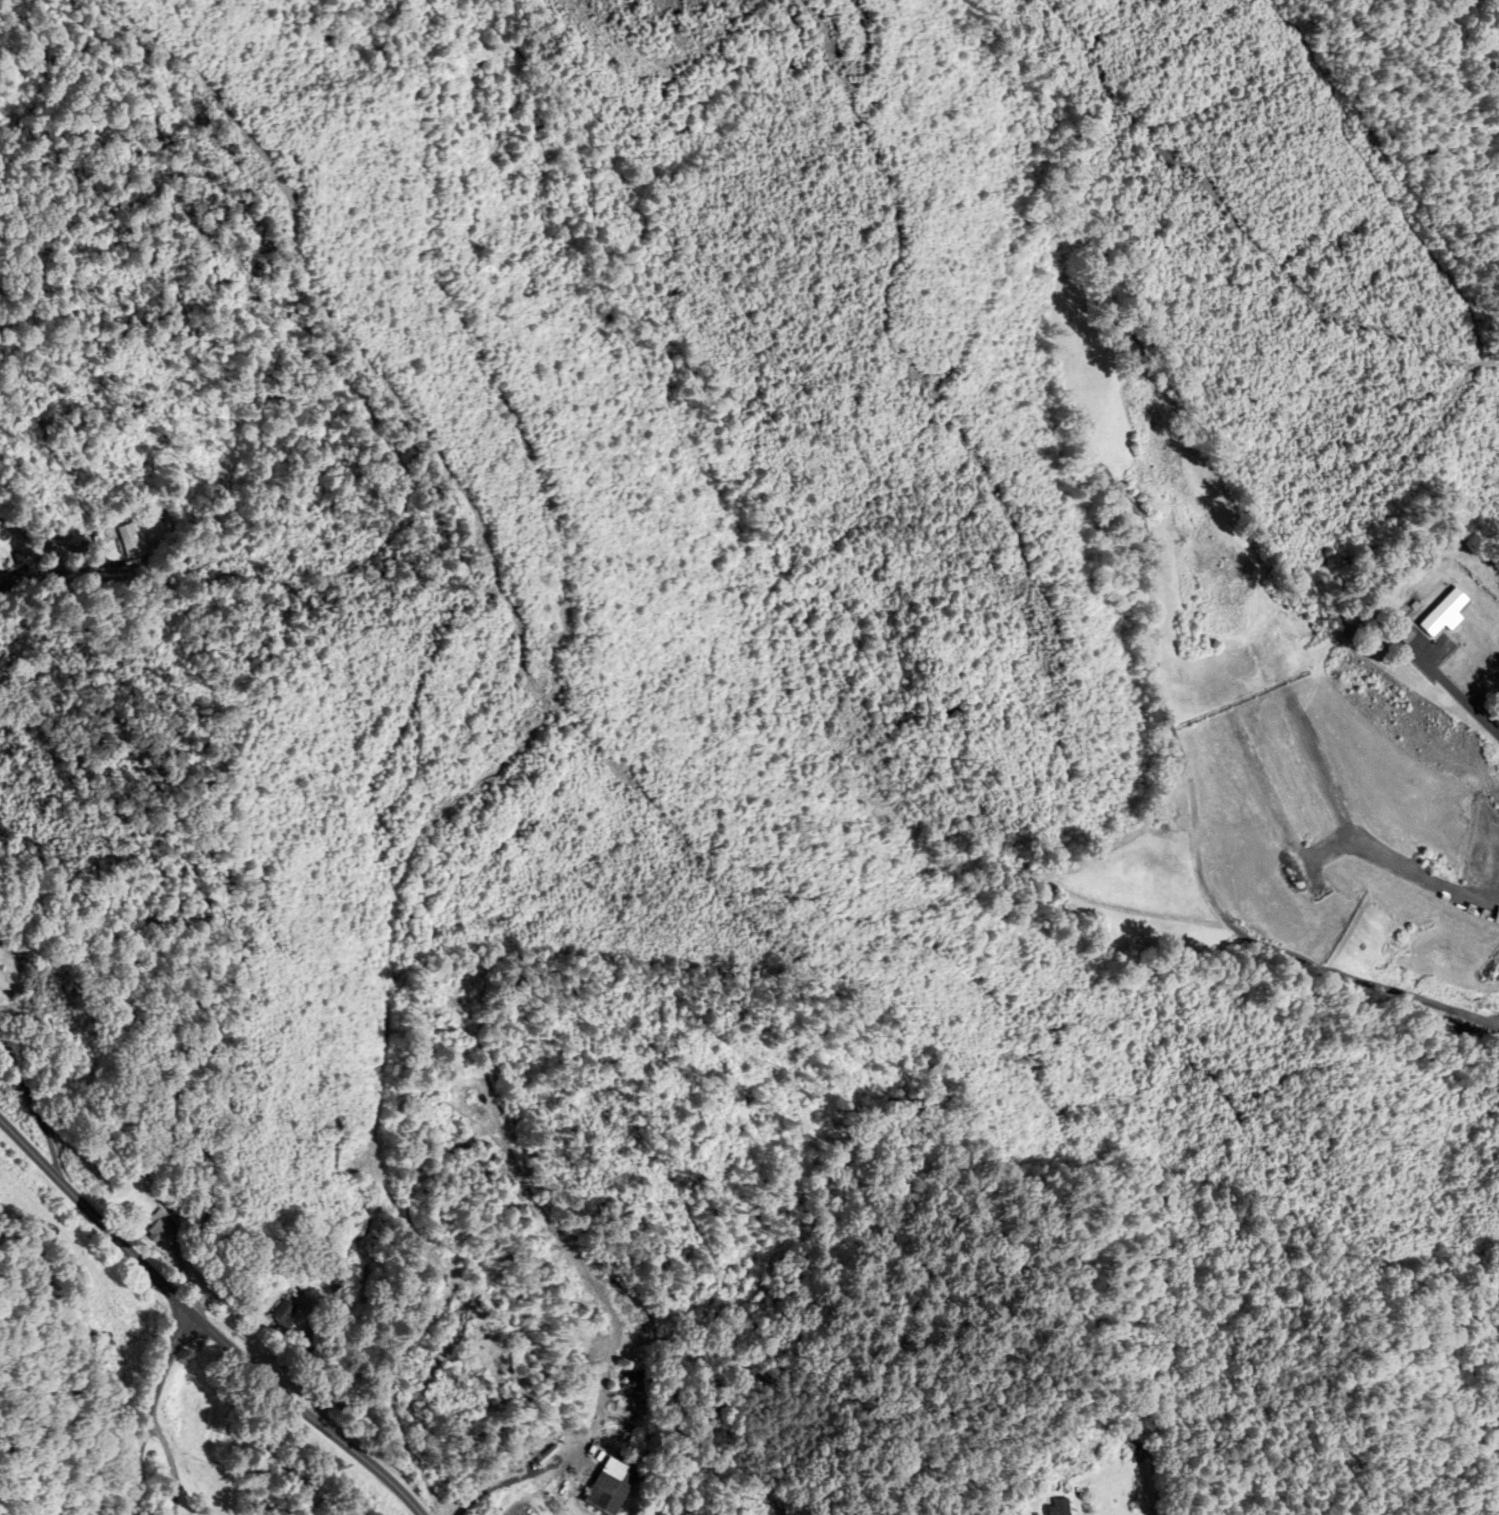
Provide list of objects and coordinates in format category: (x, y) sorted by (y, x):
road: (256, 166)
building: (130, 541)
road: (62, 564)
building: (1435, 606)
road: (1465, 699)
building: (12, 979)
road: (37, 1109)
building: (167, 1230)
building: (289, 1316)
road: (204, 1325)
road: (621, 1340)
building: (624, 1401)
road: (155, 1411)
building: (618, 1486)

